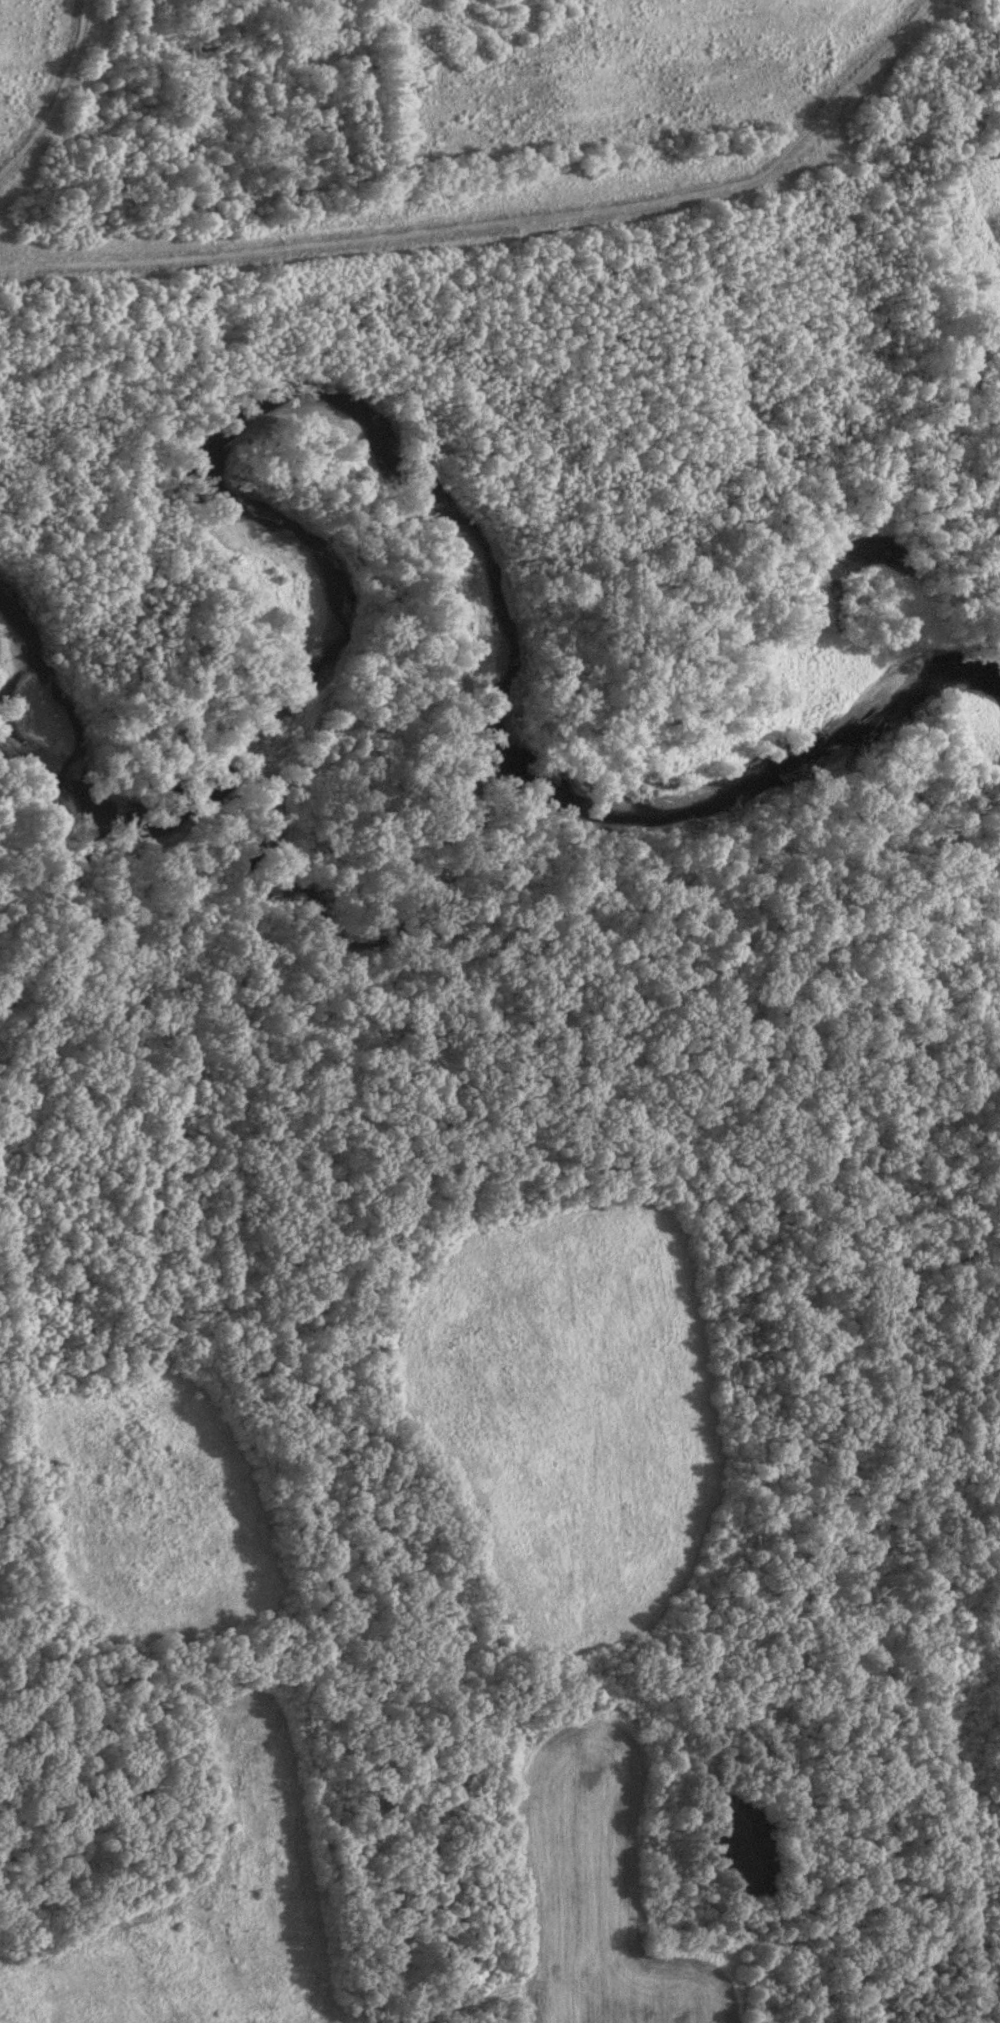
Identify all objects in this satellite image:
river: (383, 443)

